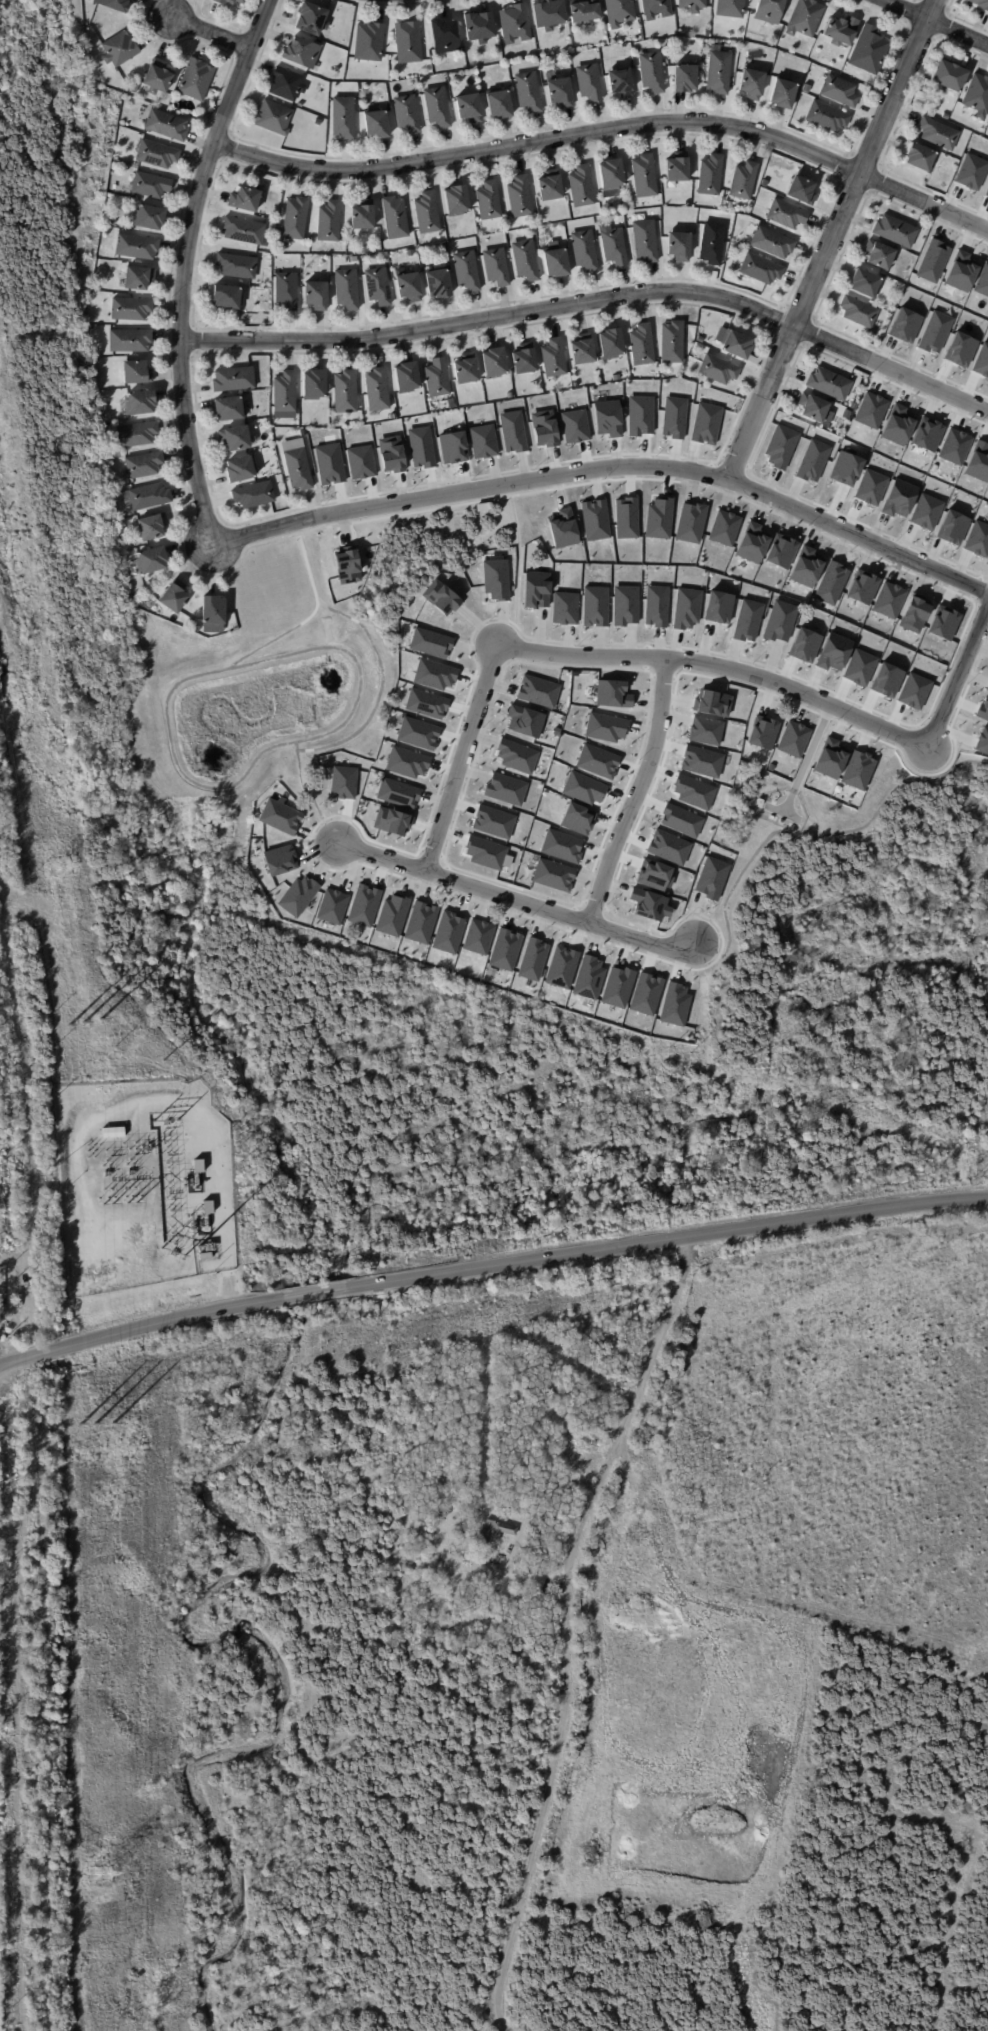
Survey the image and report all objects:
building: (227, 1)
building: (980, 3)
building: (113, 4)
building: (693, 5)
building: (656, 8)
building: (731, 8)
building: (584, 11)
building: (770, 11)
building: (620, 12)
building: (549, 14)
building: (312, 18)
building: (806, 18)
road: (934, 21)
building: (515, 23)
building: (479, 26)
building: (843, 30)
road: (211, 32)
building: (444, 36)
building: (369, 41)
building: (408, 42)
building: (119, 49)
building: (869, 50)
building: (301, 53)
building: (534, 55)
building: (738, 69)
building: (652, 72)
building: (719, 72)
building: (157, 77)
building: (686, 77)
building: (949, 77)
building: (195, 79)
building: (590, 82)
building: (621, 82)
building: (753, 83)
building: (287, 84)
building: (133, 87)
building: (528, 91)
building: (840, 91)
building: (560, 92)
building: (783, 93)
building: (977, 96)
building: (499, 104)
building: (437, 107)
building: (469, 108)
building: (407, 113)
building: (946, 116)
building: (274, 117)
building: (827, 117)
building: (343, 118)
building: (316, 121)
building: (376, 124)
building: (166, 125)
road: (607, 132)
building: (939, 134)
building: (156, 154)
building: (919, 156)
building: (678, 168)
building: (970, 171)
building: (612, 175)
building: (711, 175)
building: (645, 176)
building: (744, 181)
building: (765, 183)
building: (149, 185)
building: (551, 186)
building: (582, 186)
building: (802, 190)
building: (986, 191)
building: (520, 197)
building: (244, 200)
building: (457, 200)
building: (489, 201)
building: (427, 213)
building: (787, 214)
building: (363, 215)
building: (149, 218)
building: (295, 218)
building: (395, 218)
building: (329, 221)
building: (244, 230)
building: (896, 231)
road: (832, 239)
building: (646, 241)
building: (542, 242)
building: (713, 243)
building: (772, 243)
building: (680, 246)
building: (135, 247)
building: (614, 247)
building: (585, 250)
building: (364, 251)
building: (880, 255)
building: (932, 260)
building: (525, 261)
building: (556, 261)
building: (236, 266)
building: (496, 267)
road: (185, 269)
building: (761, 269)
building: (467, 271)
building: (959, 272)
building: (138, 278)
building: (982, 281)
building: (438, 283)
building: (866, 283)
building: (378, 287)
building: (409, 287)
building: (346, 289)
building: (286, 291)
building: (316, 296)
building: (226, 297)
road: (594, 302)
building: (130, 309)
building: (859, 312)
building: (89, 323)
building: (904, 325)
building: (88, 328)
building: (934, 331)
building: (129, 341)
building: (673, 343)
building: (612, 344)
building: (643, 345)
building: (737, 345)
building: (959, 349)
building: (584, 350)
building: (554, 359)
building: (525, 360)
building: (981, 361)
building: (494, 363)
building: (466, 370)
building: (718, 370)
building: (136, 373)
building: (407, 378)
building: (616, 378)
building: (233, 379)
building: (437, 379)
building: (314, 385)
building: (577, 385)
building: (830, 385)
building: (377, 390)
building: (284, 392)
building: (345, 393)
building: (140, 404)
building: (854, 407)
building: (229, 409)
building: (814, 410)
building: (871, 411)
building: (639, 415)
building: (606, 417)
building: (674, 417)
building: (705, 423)
building: (574, 425)
building: (896, 425)
building: (543, 428)
building: (512, 430)
building: (927, 434)
building: (136, 435)
building: (235, 439)
building: (482, 441)
building: (420, 446)
building: (780, 446)
building: (954, 446)
building: (452, 447)
building: (390, 453)
building: (812, 460)
building: (360, 461)
building: (978, 461)
building: (328, 463)
building: (143, 466)
building: (297, 466)
road: (609, 466)
building: (845, 469)
building: (240, 470)
building: (870, 487)
building: (253, 495)
building: (148, 498)
building: (898, 498)
building: (926, 511)
building: (658, 517)
building: (625, 518)
building: (594, 519)
building: (690, 522)
building: (123, 523)
building: (723, 527)
building: (952, 527)
building: (152, 528)
building: (562, 528)
building: (977, 539)
building: (751, 542)
building: (780, 551)
building: (151, 562)
building: (346, 566)
building: (805, 567)
building: (495, 579)
building: (830, 582)
building: (861, 587)
building: (535, 589)
building: (440, 597)
building: (174, 598)
building: (887, 600)
building: (624, 605)
building: (593, 606)
building: (655, 606)
building: (717, 607)
building: (563, 608)
building: (685, 608)
building: (212, 612)
building: (913, 613)
building: (747, 620)
building: (779, 621)
building: (943, 622)
building: (429, 642)
building: (804, 645)
building: (832, 651)
building: (859, 667)
road: (718, 669)
building: (434, 674)
road: (957, 674)
building: (886, 680)
building: (986, 688)
building: (913, 690)
building: (537, 691)
building: (611, 694)
building: (425, 703)
building: (711, 703)
building: (982, 709)
building: (523, 720)
building: (604, 727)
building: (704, 730)
building: (762, 732)
road: (170, 733)
building: (417, 733)
building: (792, 739)
building: (982, 741)
building: (516, 756)
building: (829, 758)
road: (462, 760)
building: (406, 761)
building: (596, 761)
building: (701, 761)
building: (857, 769)
building: (342, 782)
building: (582, 787)
building: (504, 789)
building: (692, 791)
building: (397, 793)
road: (639, 796)
building: (279, 816)
building: (576, 818)
building: (680, 820)
building: (390, 821)
building: (492, 821)
building: (560, 846)
building: (668, 847)
building: (484, 852)
building: (279, 860)
power tower: (58, 866)
building: (654, 874)
building: (552, 875)
building: (711, 877)
building: (297, 895)
road: (516, 901)
building: (649, 904)
building: (362, 905)
building: (331, 906)
building: (391, 915)
building: (419, 922)
building: (447, 932)
building: (476, 937)
building: (504, 949)
building: (531, 959)
building: (560, 968)
building: (588, 977)
building: (617, 987)
building: (645, 994)
building: (674, 1004)
power tower: (100, 1020)
power tower: (68, 1024)
power tower: (83, 1024)
power tower: (163, 1061)
building: (113, 1133)
building: (197, 1142)
building: (198, 1166)
building: (196, 1177)
power substation: (142, 1184)
road: (667, 1239)
building: (208, 1252)
building: (209, 1269)
road: (315, 1292)
building: (3, 1311)
road: (140, 1327)
power tower: (80, 1425)
power tower: (94, 1425)
power tower: (112, 1426)
building: (494, 1531)
building: (584, 1579)
road: (562, 1629)
power tower: (99, 1874)

